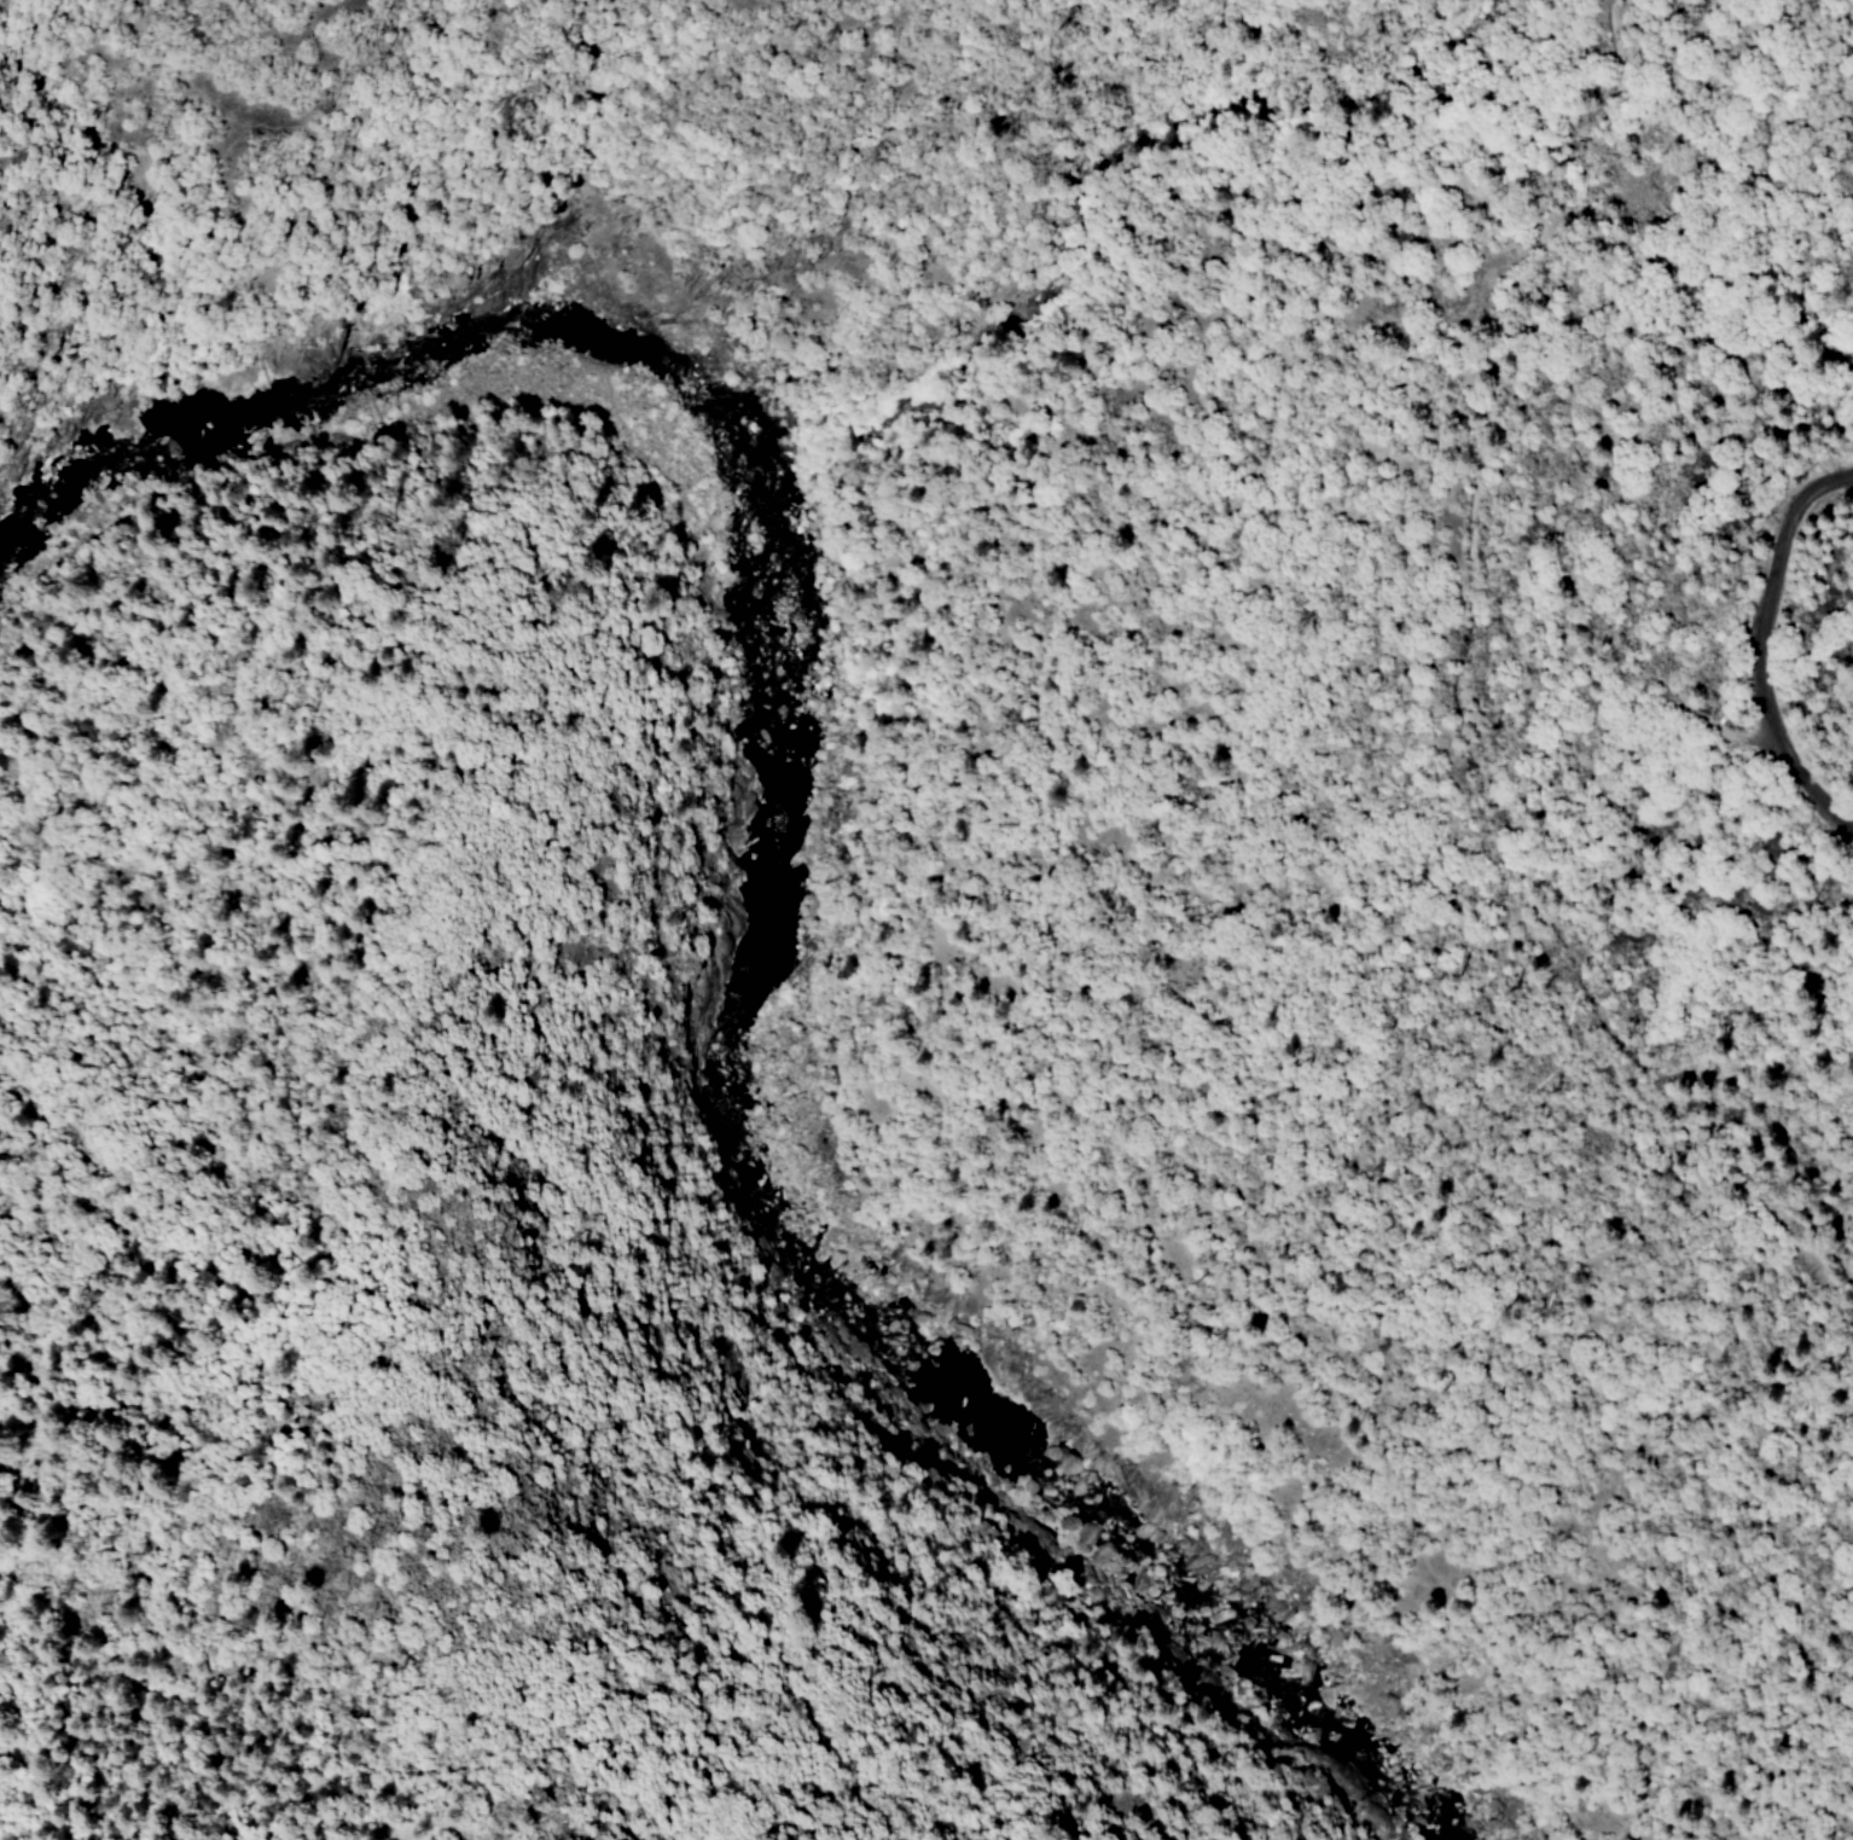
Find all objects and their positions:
road: (1755, 645)
river: (803, 859)

